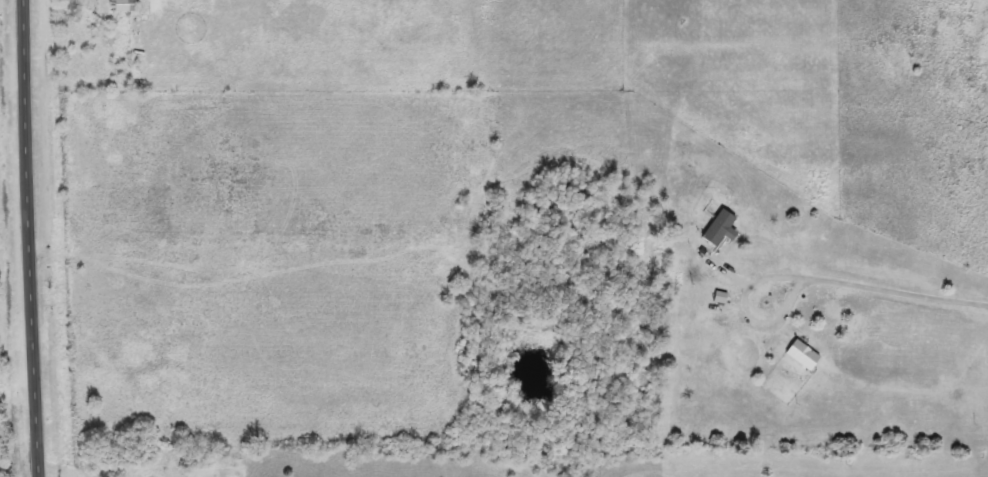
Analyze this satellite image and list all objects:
building: (724, 228)
road: (31, 238)
road: (899, 298)
road: (750, 320)
building: (805, 356)

